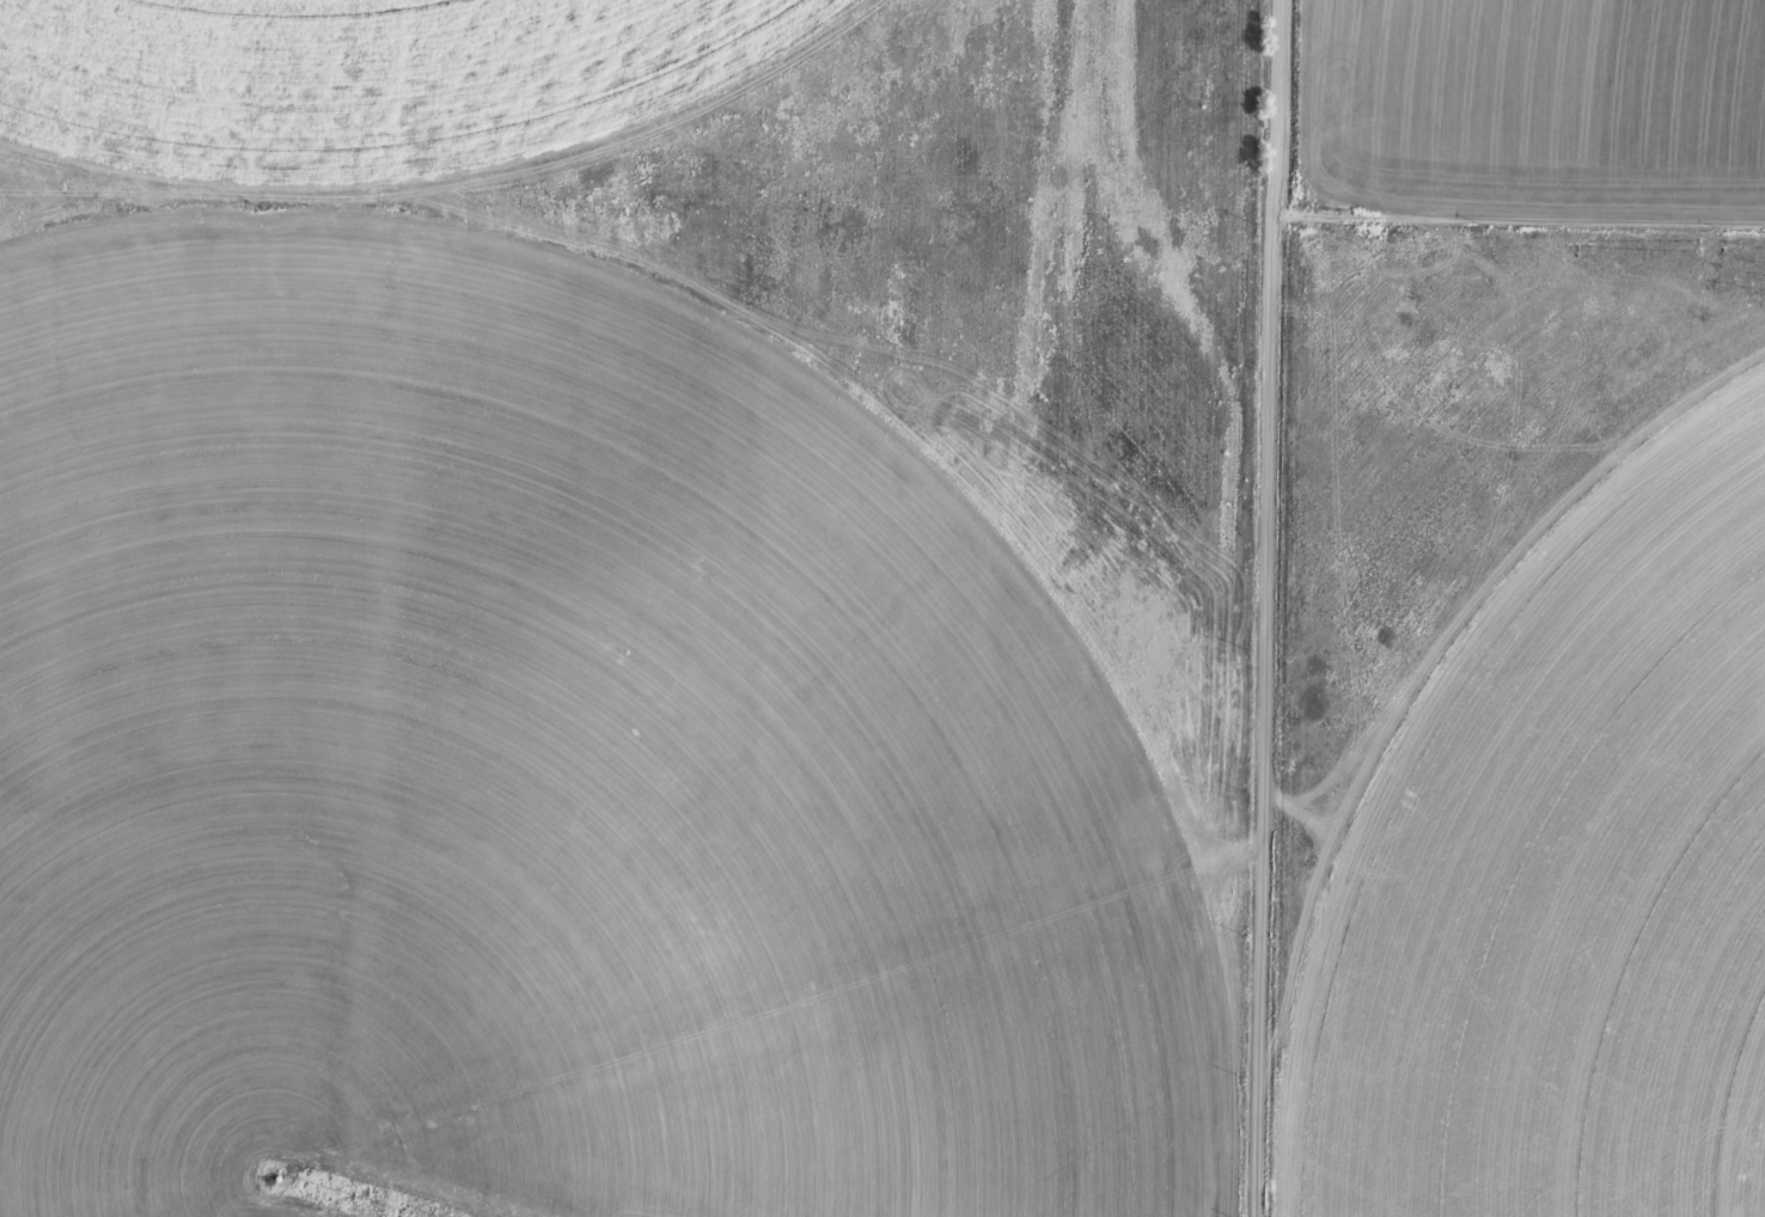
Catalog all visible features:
road: (1266, 608)

